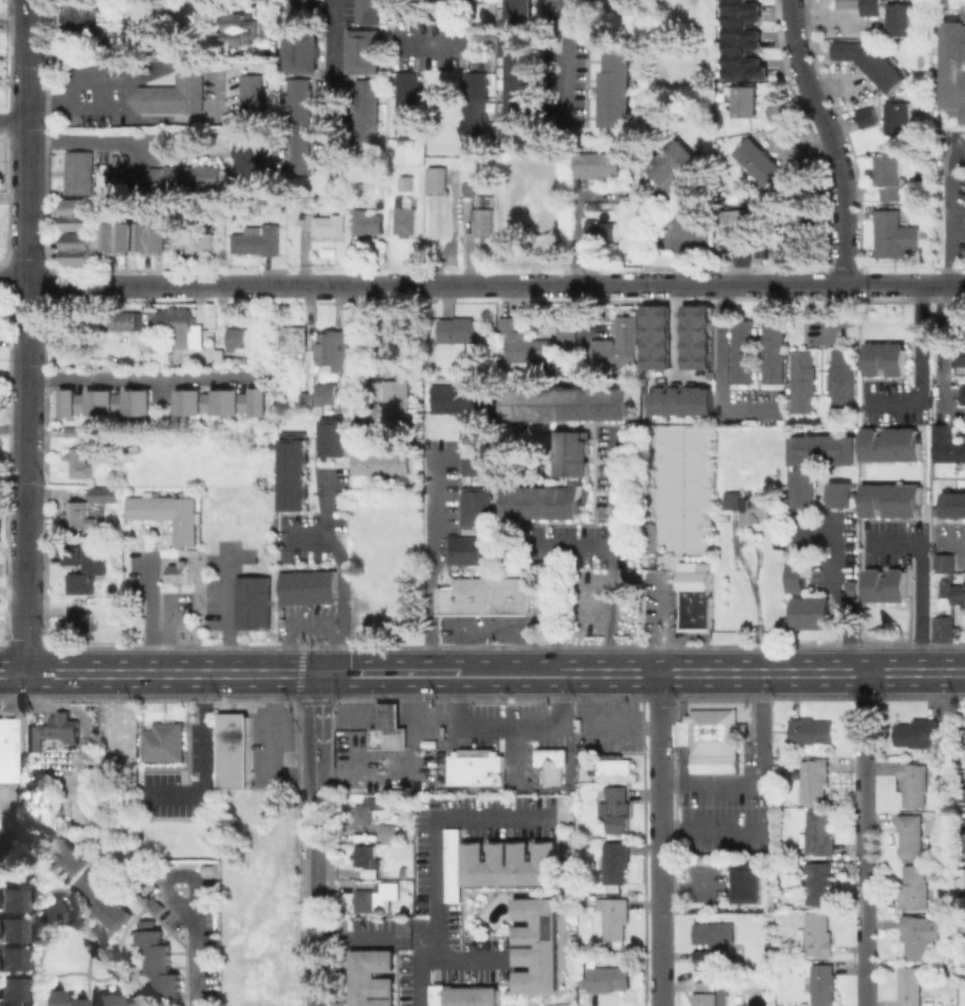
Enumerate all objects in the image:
building: (478, 0)
building: (849, 4)
building: (871, 7)
building: (407, 9)
building: (629, 9)
building: (301, 11)
building: (369, 11)
building: (898, 11)
building: (82, 15)
road: (265, 22)
road: (442, 22)
building: (898, 27)
road: (818, 28)
building: (242, 30)
building: (161, 38)
building: (742, 40)
road: (436, 44)
building: (366, 50)
building: (303, 51)
road: (566, 60)
building: (872, 62)
building: (957, 66)
building: (520, 68)
road: (330, 81)
building: (617, 87)
building: (175, 93)
building: (741, 93)
building: (252, 95)
building: (410, 106)
building: (476, 106)
building: (741, 109)
building: (897, 109)
building: (367, 112)
building: (774, 113)
building: (865, 117)
road: (14, 120)
building: (300, 125)
building: (898, 125)
road: (96, 137)
road: (831, 138)
building: (77, 161)
building: (249, 162)
building: (599, 164)
building: (771, 166)
building: (680, 168)
building: (117, 173)
building: (890, 175)
building: (182, 177)
building: (77, 183)
building: (408, 184)
building: (470, 187)
building: (439, 201)
road: (940, 205)
building: (407, 216)
building: (745, 218)
building: (730, 219)
building: (306, 221)
building: (331, 224)
building: (368, 225)
building: (486, 226)
building: (807, 227)
building: (602, 231)
building: (80, 232)
building: (180, 234)
building: (895, 234)
building: (121, 237)
building: (154, 237)
building: (783, 237)
building: (258, 240)
building: (201, 242)
road: (338, 283)
road: (572, 283)
road: (676, 283)
road: (785, 283)
road: (902, 283)
road: (955, 283)
road: (14, 284)
road: (101, 284)
building: (130, 322)
building: (181, 325)
building: (565, 329)
road: (676, 330)
building: (463, 331)
building: (742, 335)
road: (28, 336)
building: (656, 336)
building: (696, 336)
building: (771, 336)
building: (238, 338)
building: (295, 338)
road: (939, 341)
building: (395, 344)
building: (617, 344)
building: (147, 345)
building: (525, 346)
building: (335, 351)
building: (958, 356)
building: (885, 358)
building: (165, 359)
building: (222, 359)
building: (801, 365)
building: (840, 365)
road: (920, 365)
building: (742, 367)
building: (771, 367)
road: (721, 370)
road: (144, 377)
building: (962, 394)
building: (321, 396)
building: (801, 396)
building: (840, 396)
building: (461, 398)
building: (681, 399)
building: (222, 400)
building: (105, 401)
building: (569, 403)
building: (395, 407)
road: (14, 431)
building: (80, 431)
building: (333, 437)
building: (890, 444)
building: (946, 444)
building: (136, 447)
building: (824, 449)
building: (575, 453)
building: (477, 455)
building: (82, 461)
building: (379, 461)
building: (291, 470)
road: (613, 488)
building: (805, 488)
building: (108, 492)
building: (842, 494)
building: (890, 499)
building: (548, 501)
building: (953, 504)
building: (477, 505)
building: (749, 506)
building: (78, 514)
building: (168, 514)
road: (304, 536)
road: (579, 545)
building: (467, 549)
building: (780, 550)
road: (427, 559)
building: (942, 562)
building: (81, 565)
road: (340, 571)
building: (179, 572)
building: (798, 575)
road: (920, 581)
road: (833, 584)
building: (884, 585)
building: (310, 586)
building: (852, 586)
building: (952, 590)
building: (487, 595)
building: (693, 595)
building: (256, 603)
building: (59, 610)
building: (814, 612)
road: (145, 613)
building: (78, 624)
road: (661, 627)
building: (944, 629)
road: (274, 671)
road: (577, 672)
road: (785, 672)
road: (512, 726)
road: (606, 726)
building: (389, 727)
building: (811, 729)
building: (53, 731)
road: (316, 731)
building: (919, 732)
building: (716, 733)
building: (163, 743)
road: (276, 745)
building: (8, 748)
building: (235, 750)
road: (206, 762)
building: (551, 764)
building: (476, 766)
building: (614, 767)
road: (762, 779)
building: (814, 779)
building: (913, 782)
road: (660, 787)
road: (549, 790)
building: (964, 794)
building: (615, 809)
building: (368, 810)
building: (45, 812)
road: (6, 815)
road: (430, 828)
road: (735, 828)
building: (388, 831)
building: (818, 833)
building: (910, 834)
building: (964, 834)
road: (866, 839)
building: (367, 855)
building: (67, 856)
building: (615, 861)
building: (508, 863)
building: (451, 864)
building: (375, 873)
road: (169, 874)
building: (819, 883)
building: (748, 884)
building: (915, 888)
building: (390, 889)
building: (107, 897)
road: (316, 897)
building: (365, 898)
building: (10, 899)
building: (157, 904)
building: (615, 918)
building: (10, 929)
road: (363, 930)
building: (815, 935)
building: (916, 935)
building: (714, 941)
building: (535, 944)
building: (783, 953)
road: (659, 954)
road: (457, 957)
building: (10, 958)
building: (954, 958)
building: (160, 959)
road: (195, 960)
road: (415, 965)
building: (765, 977)
building: (371, 978)
building: (608, 978)
building: (820, 984)
building: (910, 985)
building: (10, 989)
building: (707, 994)
building: (470, 996)
building: (55, 999)
building: (112, 1001)

